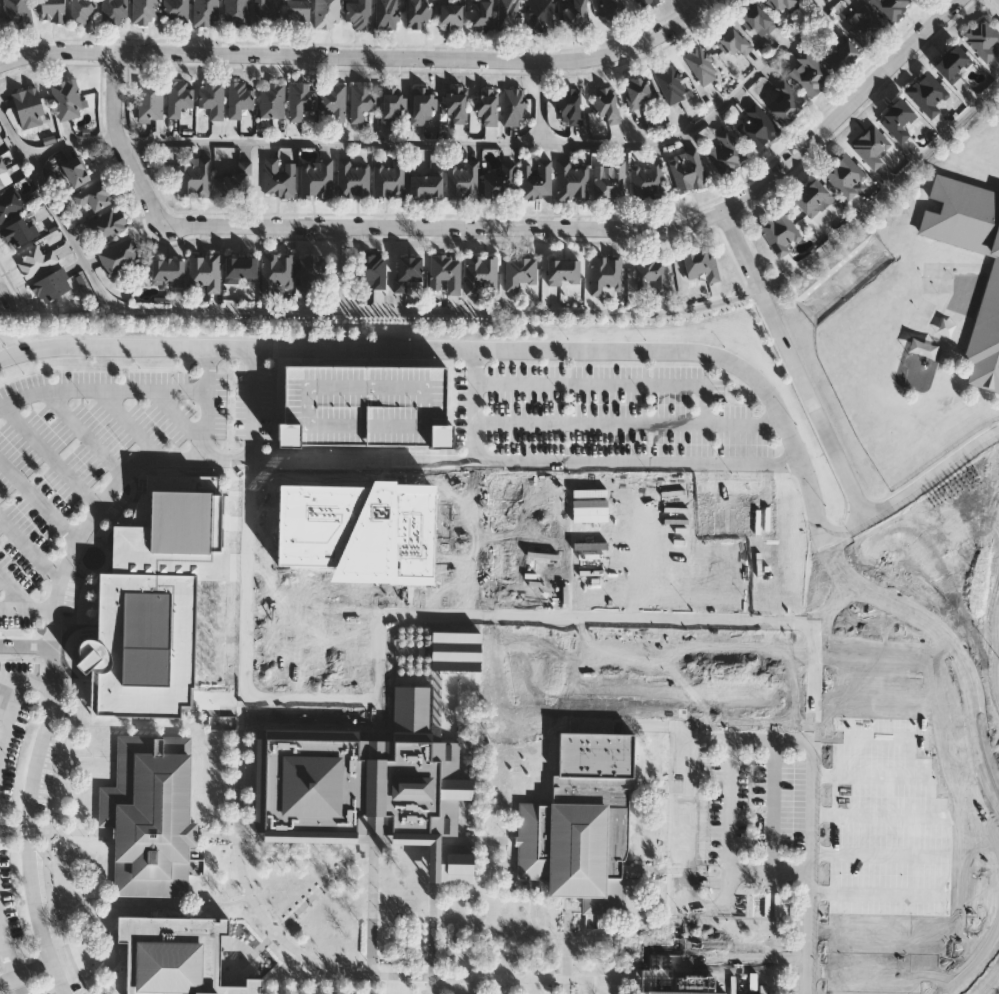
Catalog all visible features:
building: (804, 0)
building: (645, 3)
building: (782, 5)
road: (993, 5)
building: (611, 8)
building: (890, 8)
building: (82, 10)
building: (52, 11)
building: (144, 11)
building: (175, 11)
building: (205, 11)
building: (114, 12)
building: (236, 12)
building: (265, 12)
building: (18, 13)
building: (297, 13)
building: (327, 13)
building: (359, 13)
building: (418, 13)
building: (386, 14)
building: (450, 14)
building: (575, 14)
building: (480, 15)
building: (507, 15)
building: (540, 15)
building: (755, 18)
building: (865, 27)
building: (982, 39)
building: (733, 43)
road: (356, 55)
building: (841, 56)
building: (952, 63)
building: (700, 65)
building: (808, 74)
building: (670, 84)
building: (636, 92)
building: (927, 96)
building: (178, 98)
building: (67, 99)
building: (212, 99)
building: (239, 100)
building: (272, 100)
building: (300, 100)
building: (333, 101)
building: (150, 102)
building: (360, 102)
road: (541, 102)
building: (782, 102)
building: (457, 104)
building: (568, 104)
building: (423, 106)
building: (486, 106)
building: (607, 106)
building: (29, 108)
building: (513, 108)
building: (392, 109)
building: (897, 120)
building: (756, 128)
road: (455, 143)
building: (871, 147)
building: (725, 153)
building: (687, 171)
building: (74, 172)
building: (4, 176)
building: (844, 176)
building: (194, 177)
building: (279, 177)
building: (316, 179)
building: (353, 179)
building: (389, 179)
building: (536, 180)
building: (572, 180)
building: (648, 180)
building: (609, 181)
building: (237, 182)
building: (463, 182)
building: (500, 182)
building: (425, 183)
building: (94, 196)
building: (811, 198)
building: (10, 205)
building: (109, 224)
road: (509, 225)
building: (17, 233)
building: (779, 233)
building: (120, 255)
building: (35, 261)
building: (700, 264)
building: (239, 269)
building: (205, 271)
building: (167, 272)
building: (277, 272)
building: (310, 272)
building: (519, 272)
building: (562, 272)
building: (371, 273)
building: (409, 273)
building: (652, 273)
building: (445, 274)
building: (481, 274)
building: (606, 276)
building: (51, 285)
building: (988, 308)
road: (483, 312)
road: (704, 357)
road: (793, 365)
road: (607, 382)
road: (102, 389)
road: (207, 404)
building: (364, 407)
parking lot: (364, 407)
road: (474, 407)
parking lot: (602, 412)
road: (627, 421)
parking lot: (101, 455)
road: (470, 461)
road: (933, 476)
road: (392, 500)
road: (39, 501)
building: (176, 522)
road: (841, 532)
park: (981, 534)
road: (380, 537)
parking lot: (358, 549)
road: (293, 555)
road: (336, 556)
road: (23, 602)
road: (456, 614)
parking lot: (902, 631)
road: (26, 646)
building: (146, 647)
road: (997, 649)
road: (308, 652)
building: (456, 652)
road: (910, 658)
road: (53, 663)
road: (961, 664)
building: (864, 680)
road: (38, 682)
road: (379, 689)
road: (876, 697)
road: (13, 714)
parking lot: (14, 722)
road: (960, 738)
road: (878, 739)
road: (58, 767)
road: (884, 777)
building: (368, 786)
road: (774, 806)
road: (731, 807)
building: (858, 807)
building: (150, 816)
road: (890, 817)
building: (581, 823)
stadium: (924, 825)
parking lot: (745, 826)
road: (2, 830)
road: (57, 830)
road: (690, 832)
road: (478, 838)
road: (901, 855)
road: (215, 858)
road: (994, 872)
road: (511, 875)
road: (327, 884)
road: (905, 895)
road: (116, 903)
parking lot: (8, 910)
road: (373, 913)
road: (262, 920)
road: (435, 930)
road: (894, 934)
road: (579, 936)
road: (2, 940)
road: (566, 946)
road: (7, 950)
building: (176, 956)
road: (246, 958)
road: (116, 966)
road: (878, 973)
road: (25, 976)
road: (989, 983)
road: (512, 987)
road: (317, 989)
road: (292, 992)
parking lot: (30, 993)
building: (660, 993)

